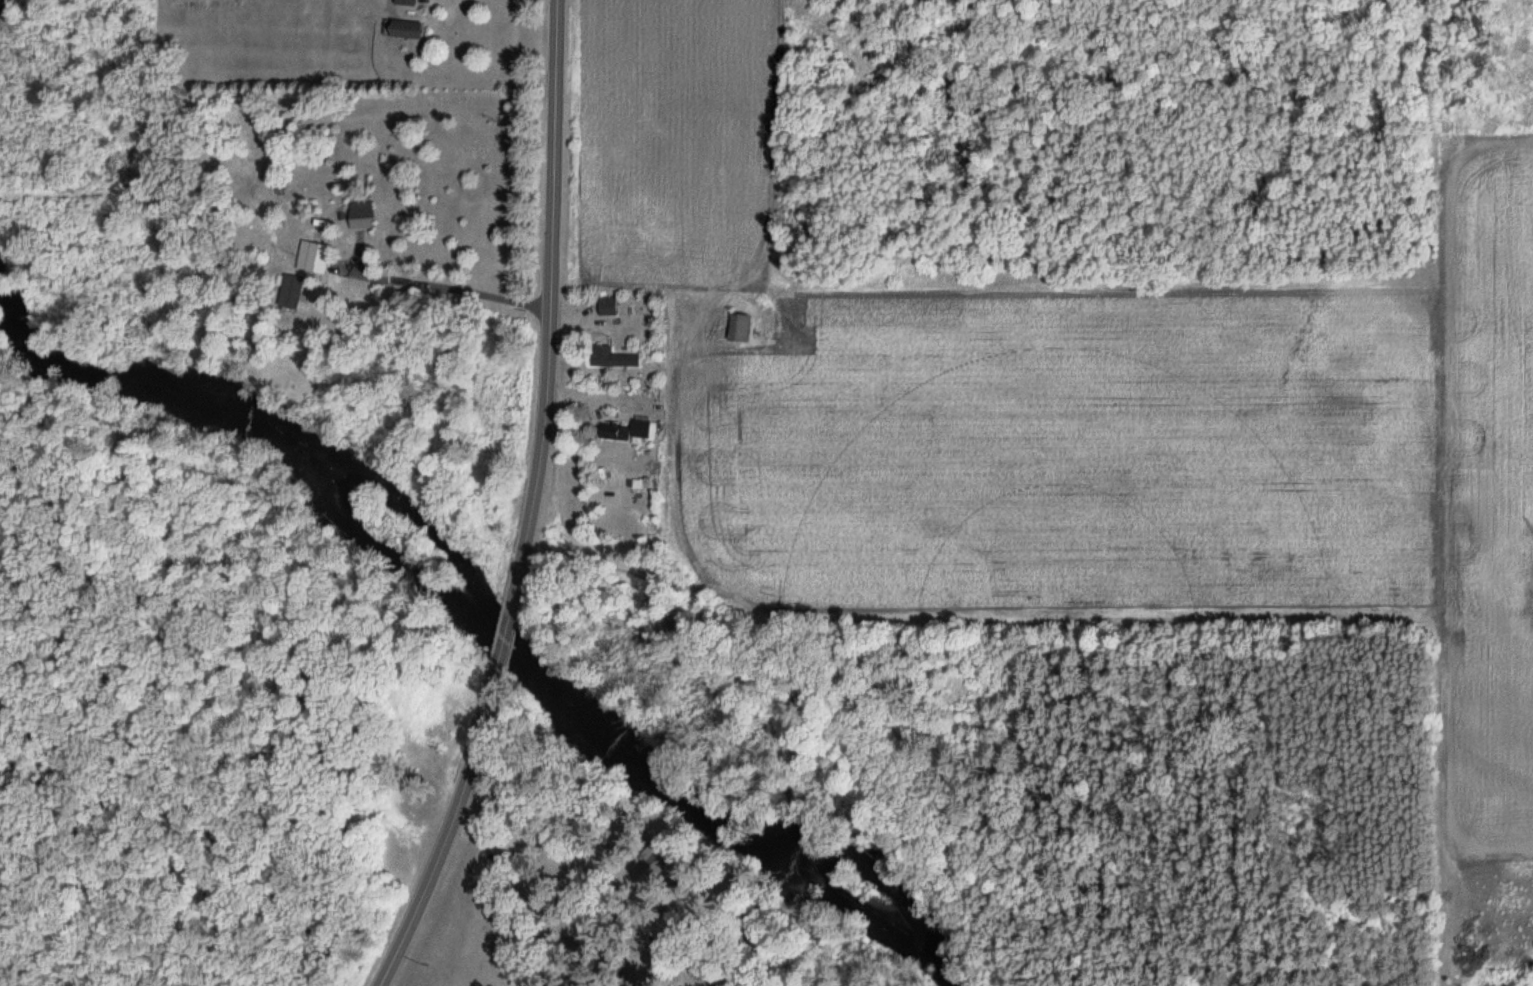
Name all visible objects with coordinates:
road: (437, 1)
building: (407, 2)
building: (408, 30)
building: (363, 218)
road: (444, 284)
road: (550, 305)
building: (608, 306)
building: (740, 326)
building: (613, 357)
river: (154, 382)
building: (631, 431)
road: (505, 635)
river: (704, 811)
park: (947, 811)
road: (449, 828)
building: (661, 854)
road: (523, 873)
road: (626, 882)
road: (579, 897)
building: (686, 898)
building: (705, 955)
park: (465, 985)

